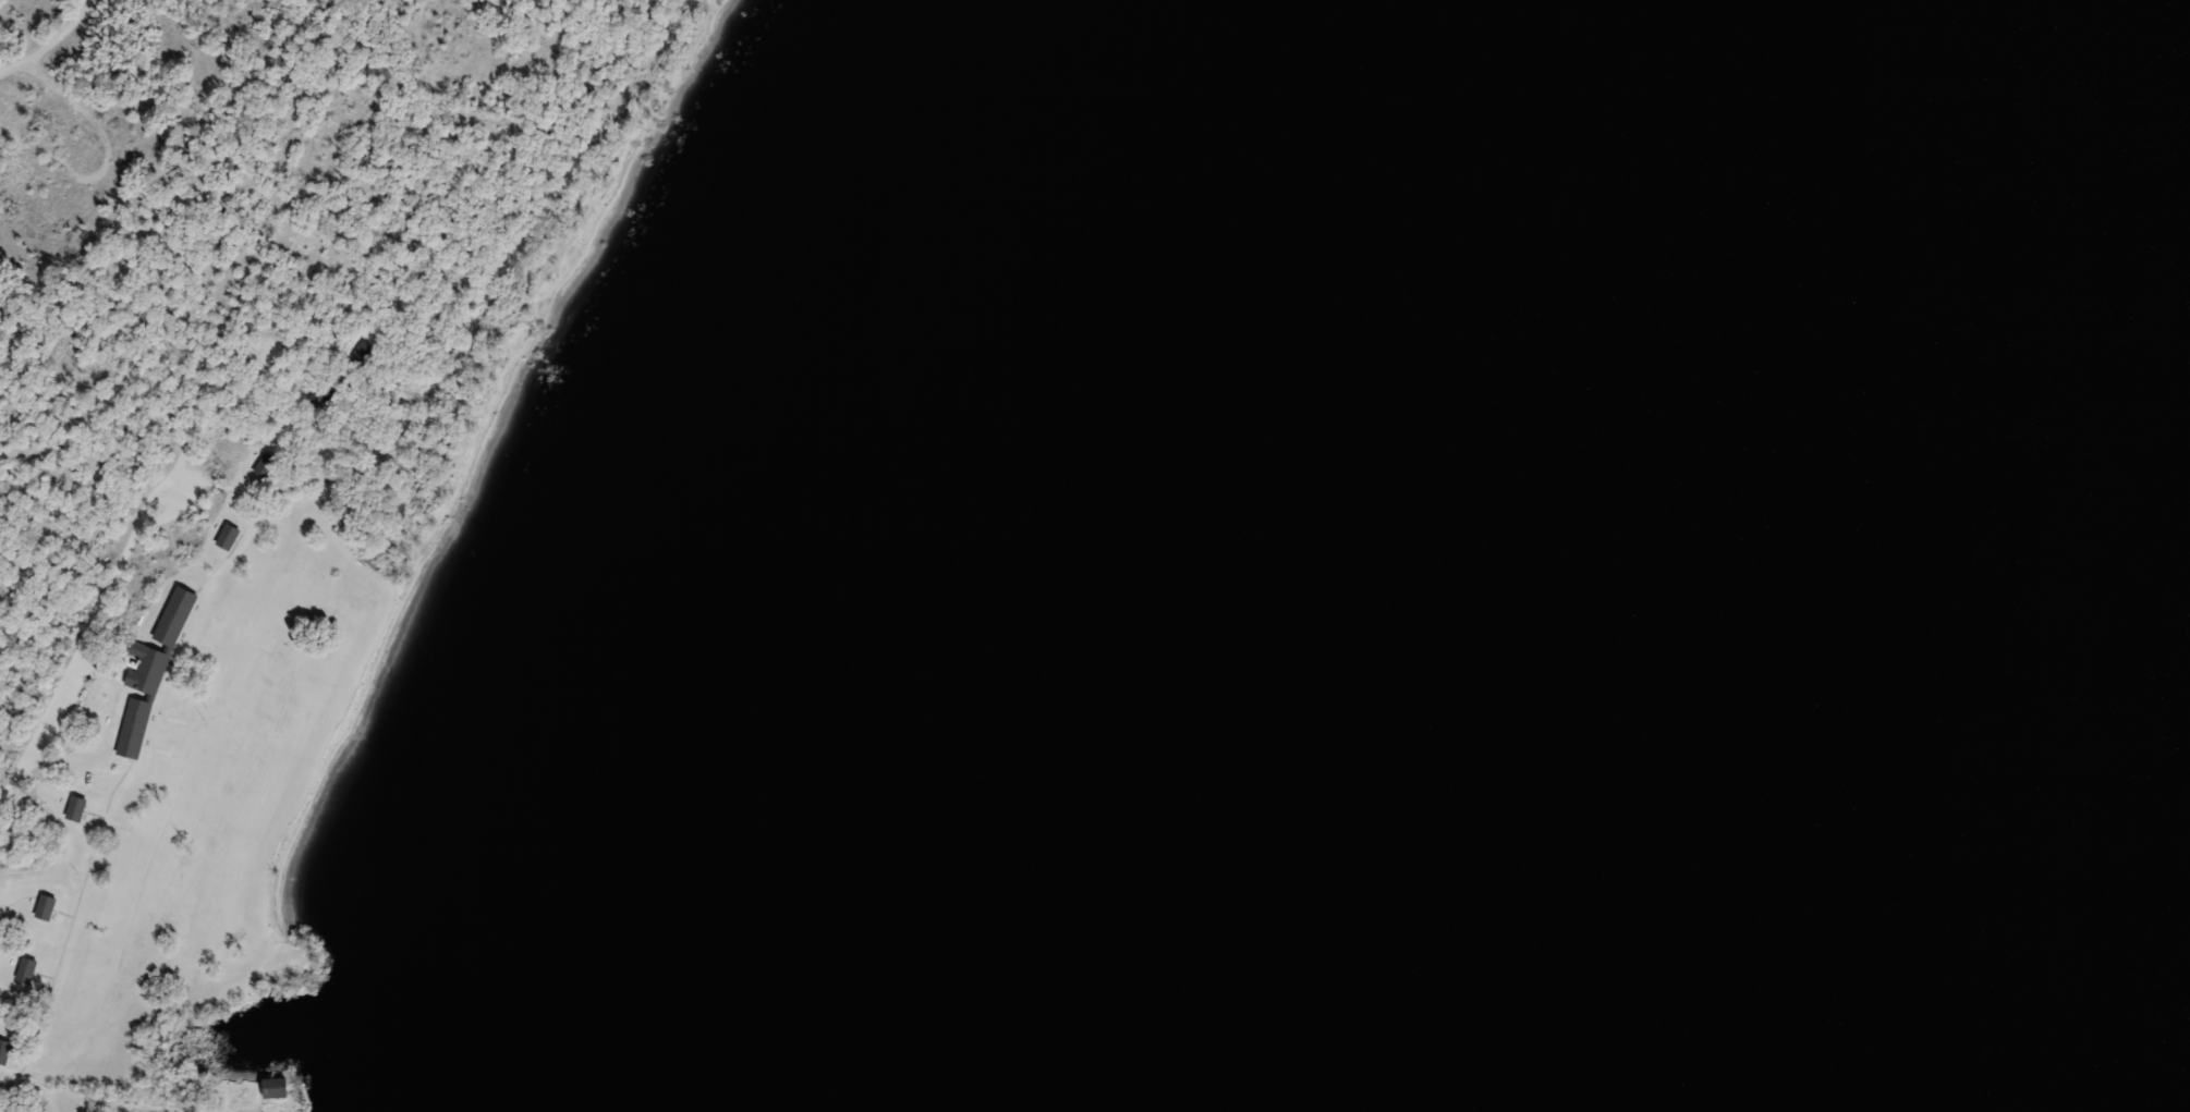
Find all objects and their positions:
road: (51, 42)
building: (358, 355)
building: (316, 398)
building: (264, 467)
park: (340, 484)
building: (223, 537)
road: (122, 564)
building: (145, 679)
building: (72, 808)
building: (41, 907)
building: (22, 969)
building: (3, 1050)
building: (270, 1087)

